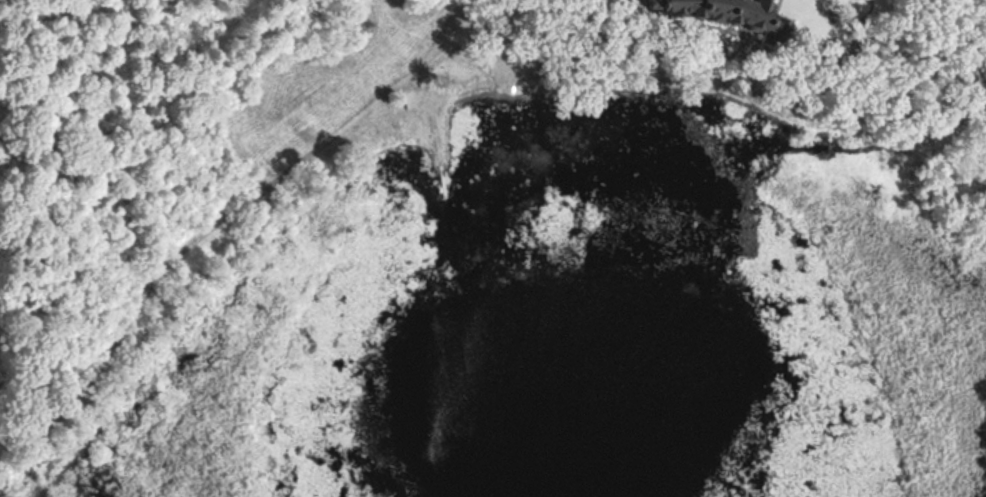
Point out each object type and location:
building: (716, 10)

